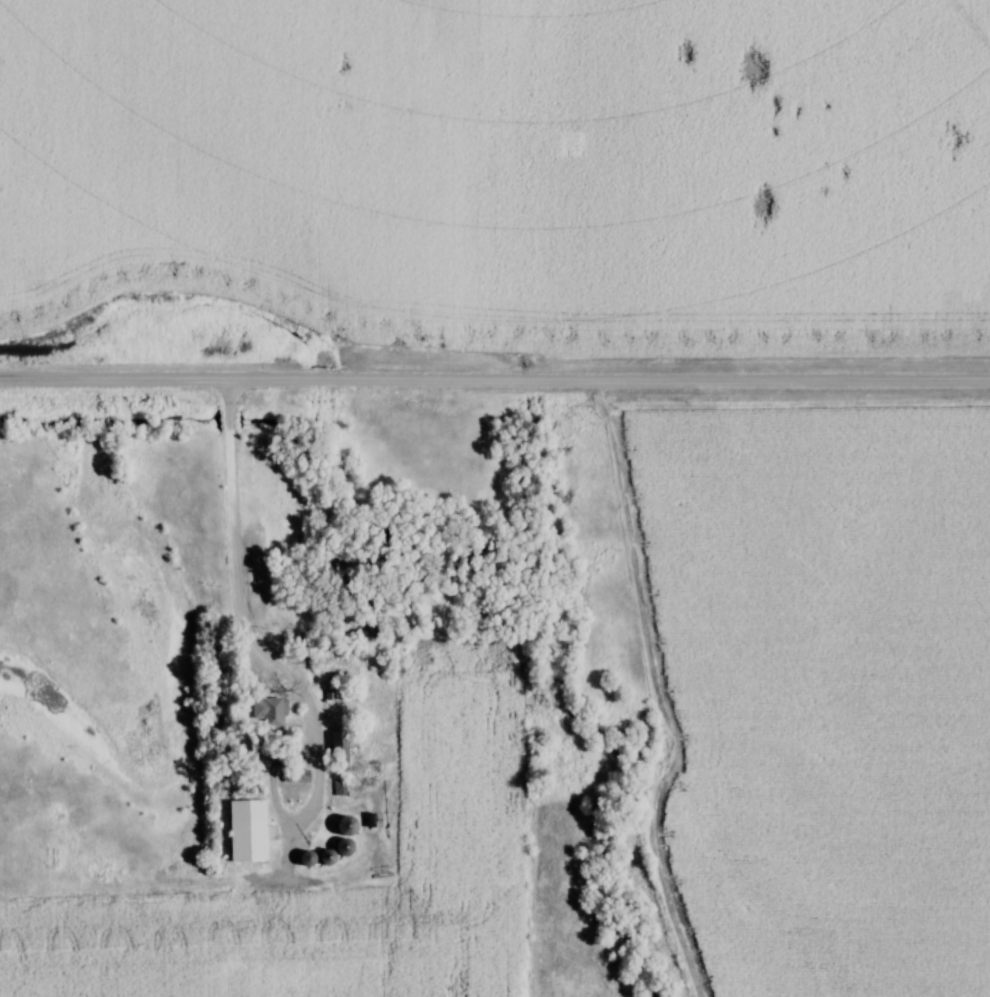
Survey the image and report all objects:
road: (495, 384)
road: (232, 590)
crop: (814, 693)
building: (271, 712)
building: (341, 744)
crop: (452, 767)
building: (297, 776)
building: (340, 788)
building: (350, 826)
building: (250, 831)
building: (348, 847)
building: (331, 858)
building: (311, 859)

